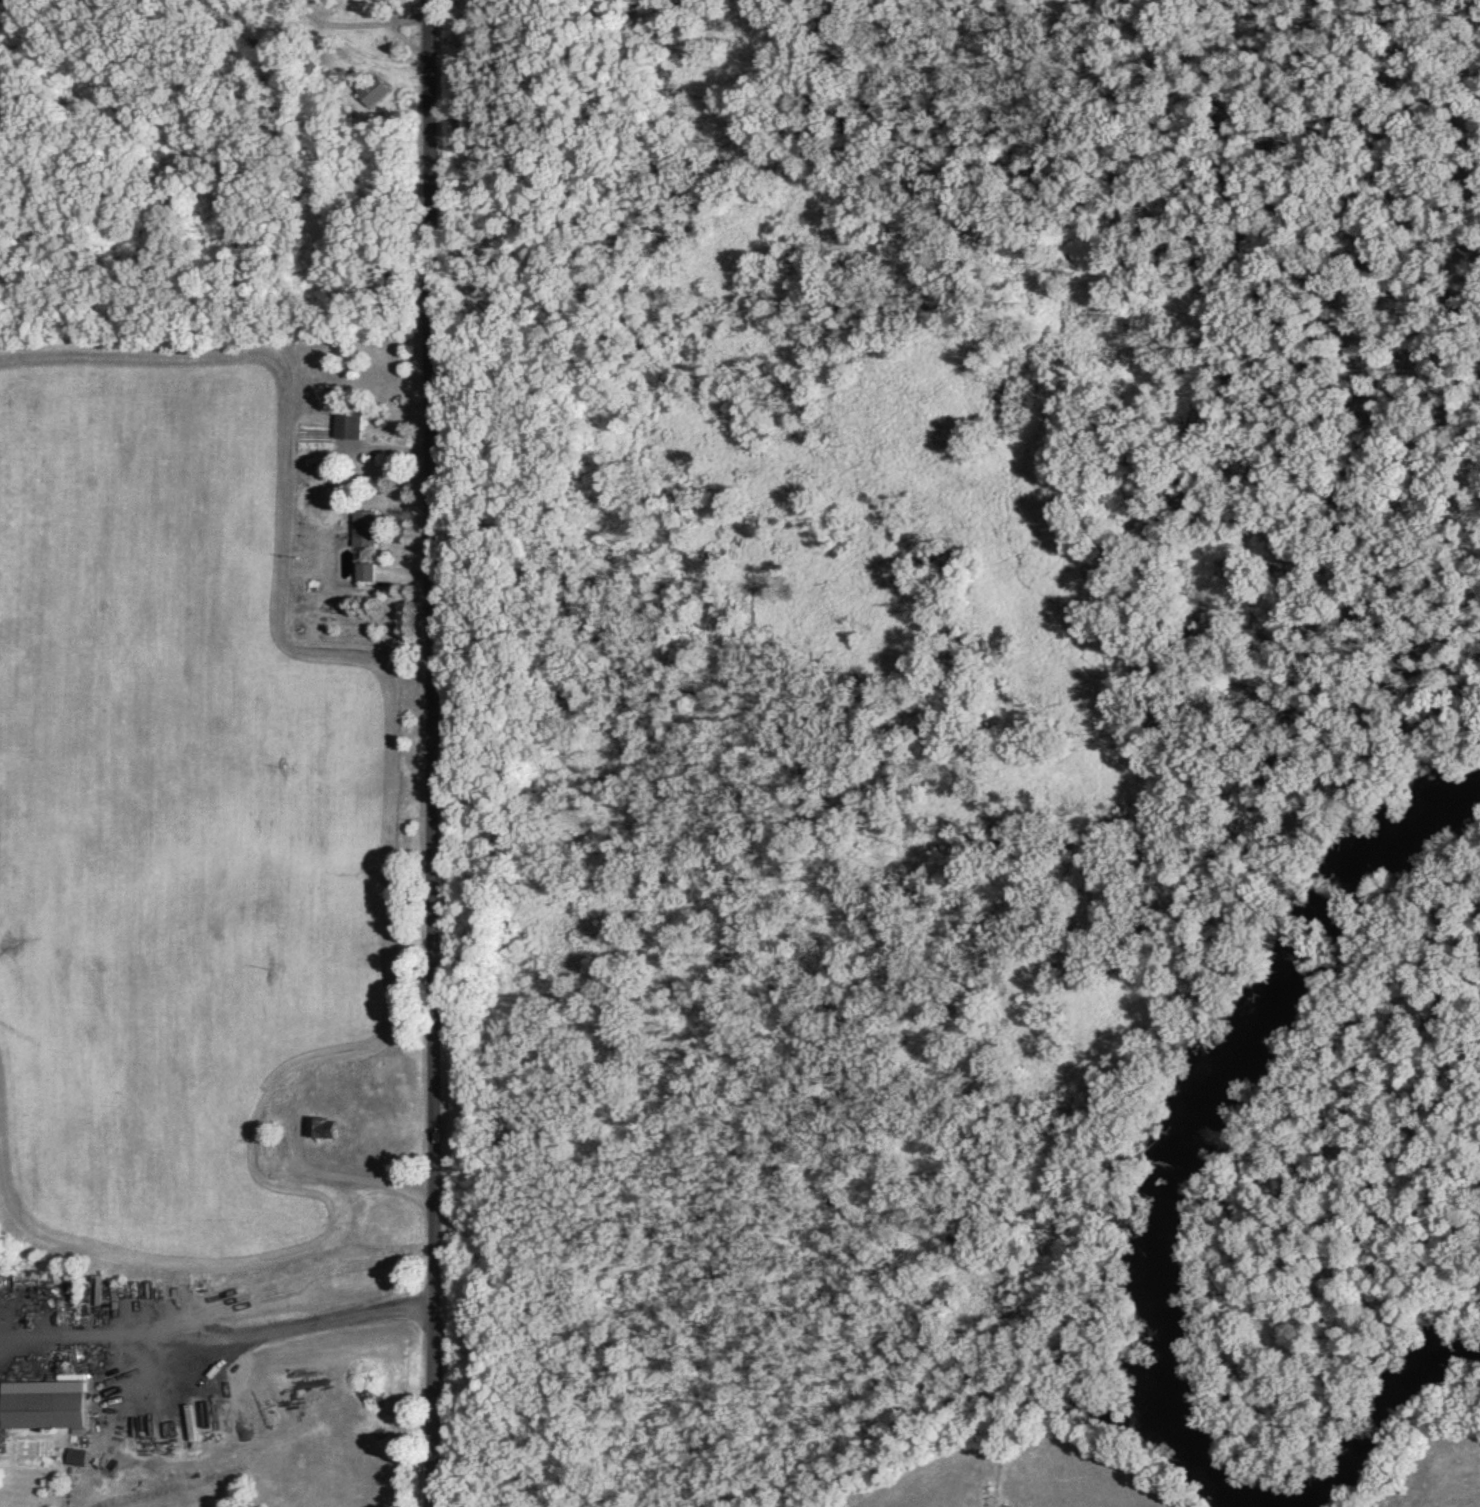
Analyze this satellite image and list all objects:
building: (372, 90)
building: (347, 424)
building: (363, 532)
building: (364, 574)
road: (427, 753)
river: (1197, 1117)
building: (319, 1131)
building: (27, 1414)
river: (1387, 1416)

